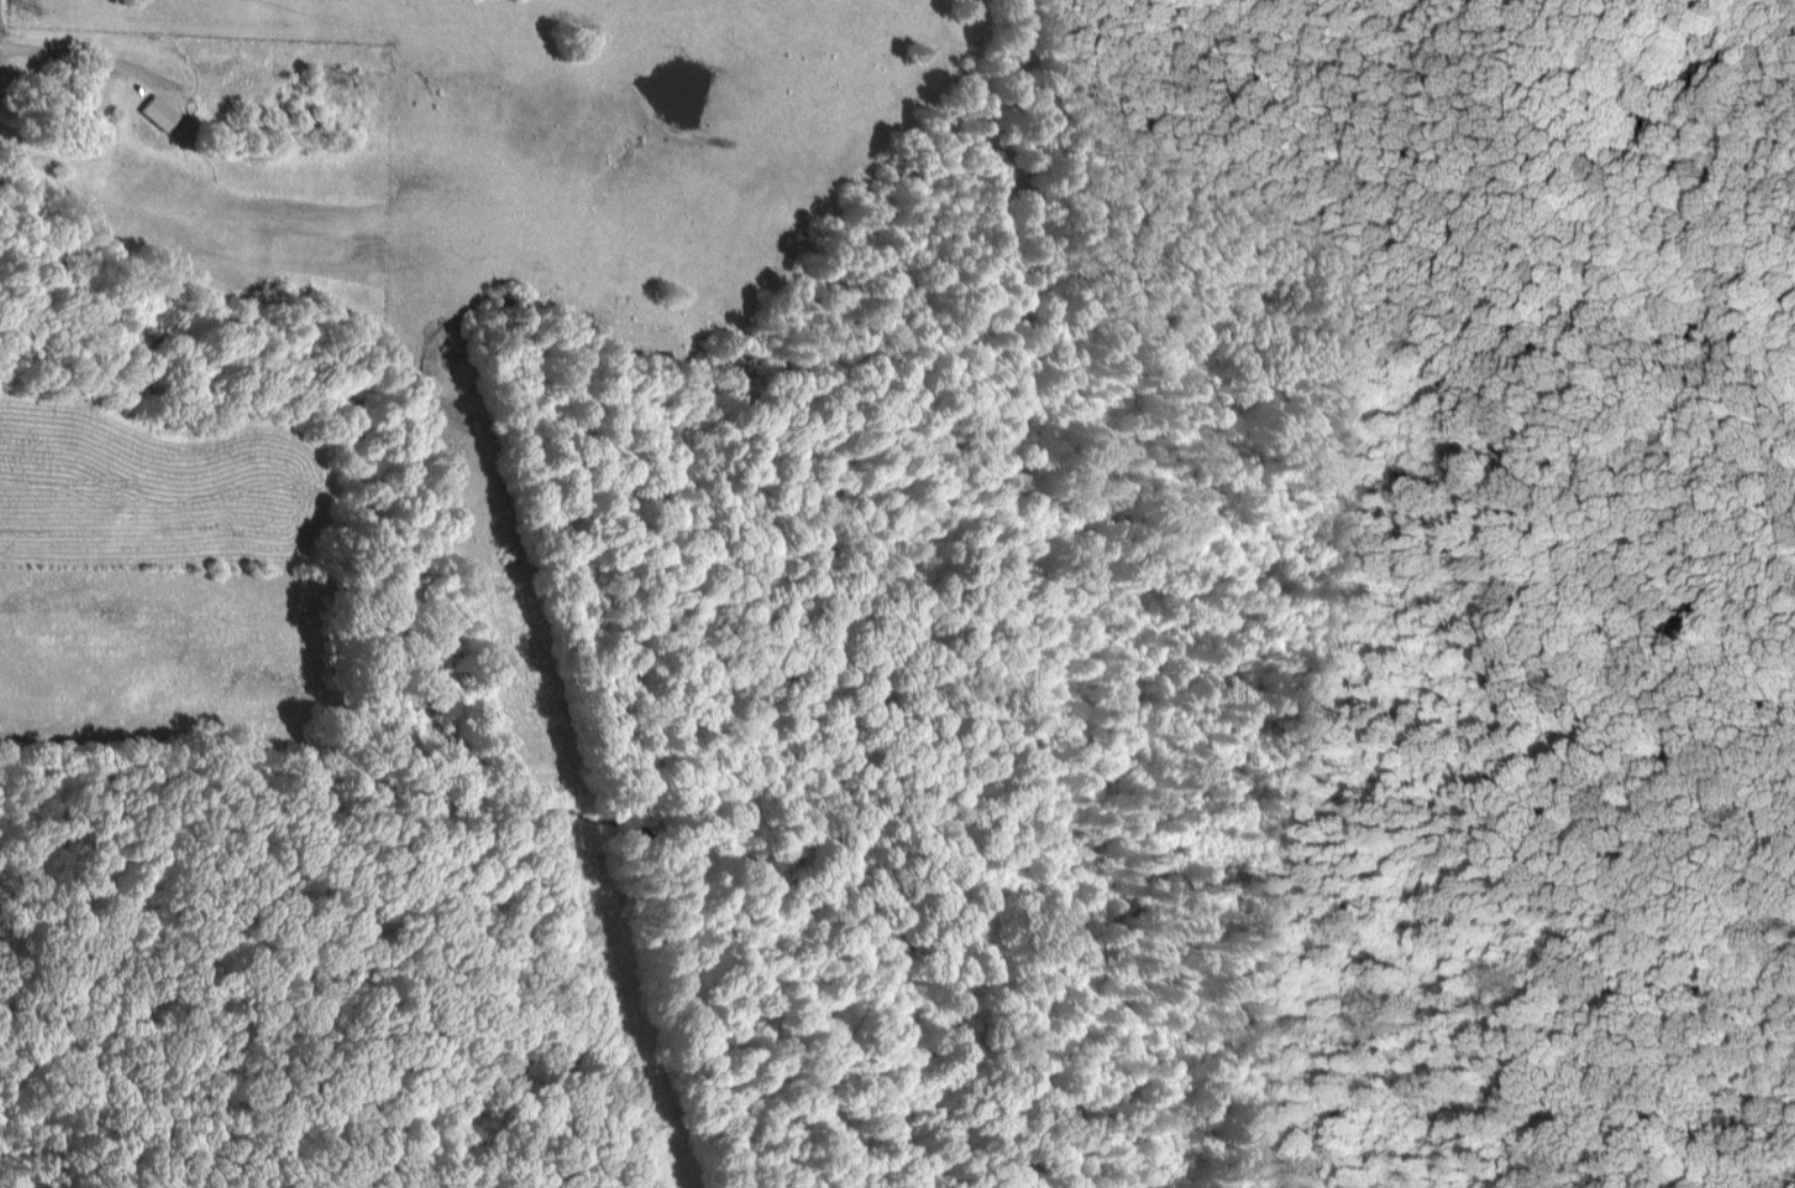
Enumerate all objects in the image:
building: (163, 115)

